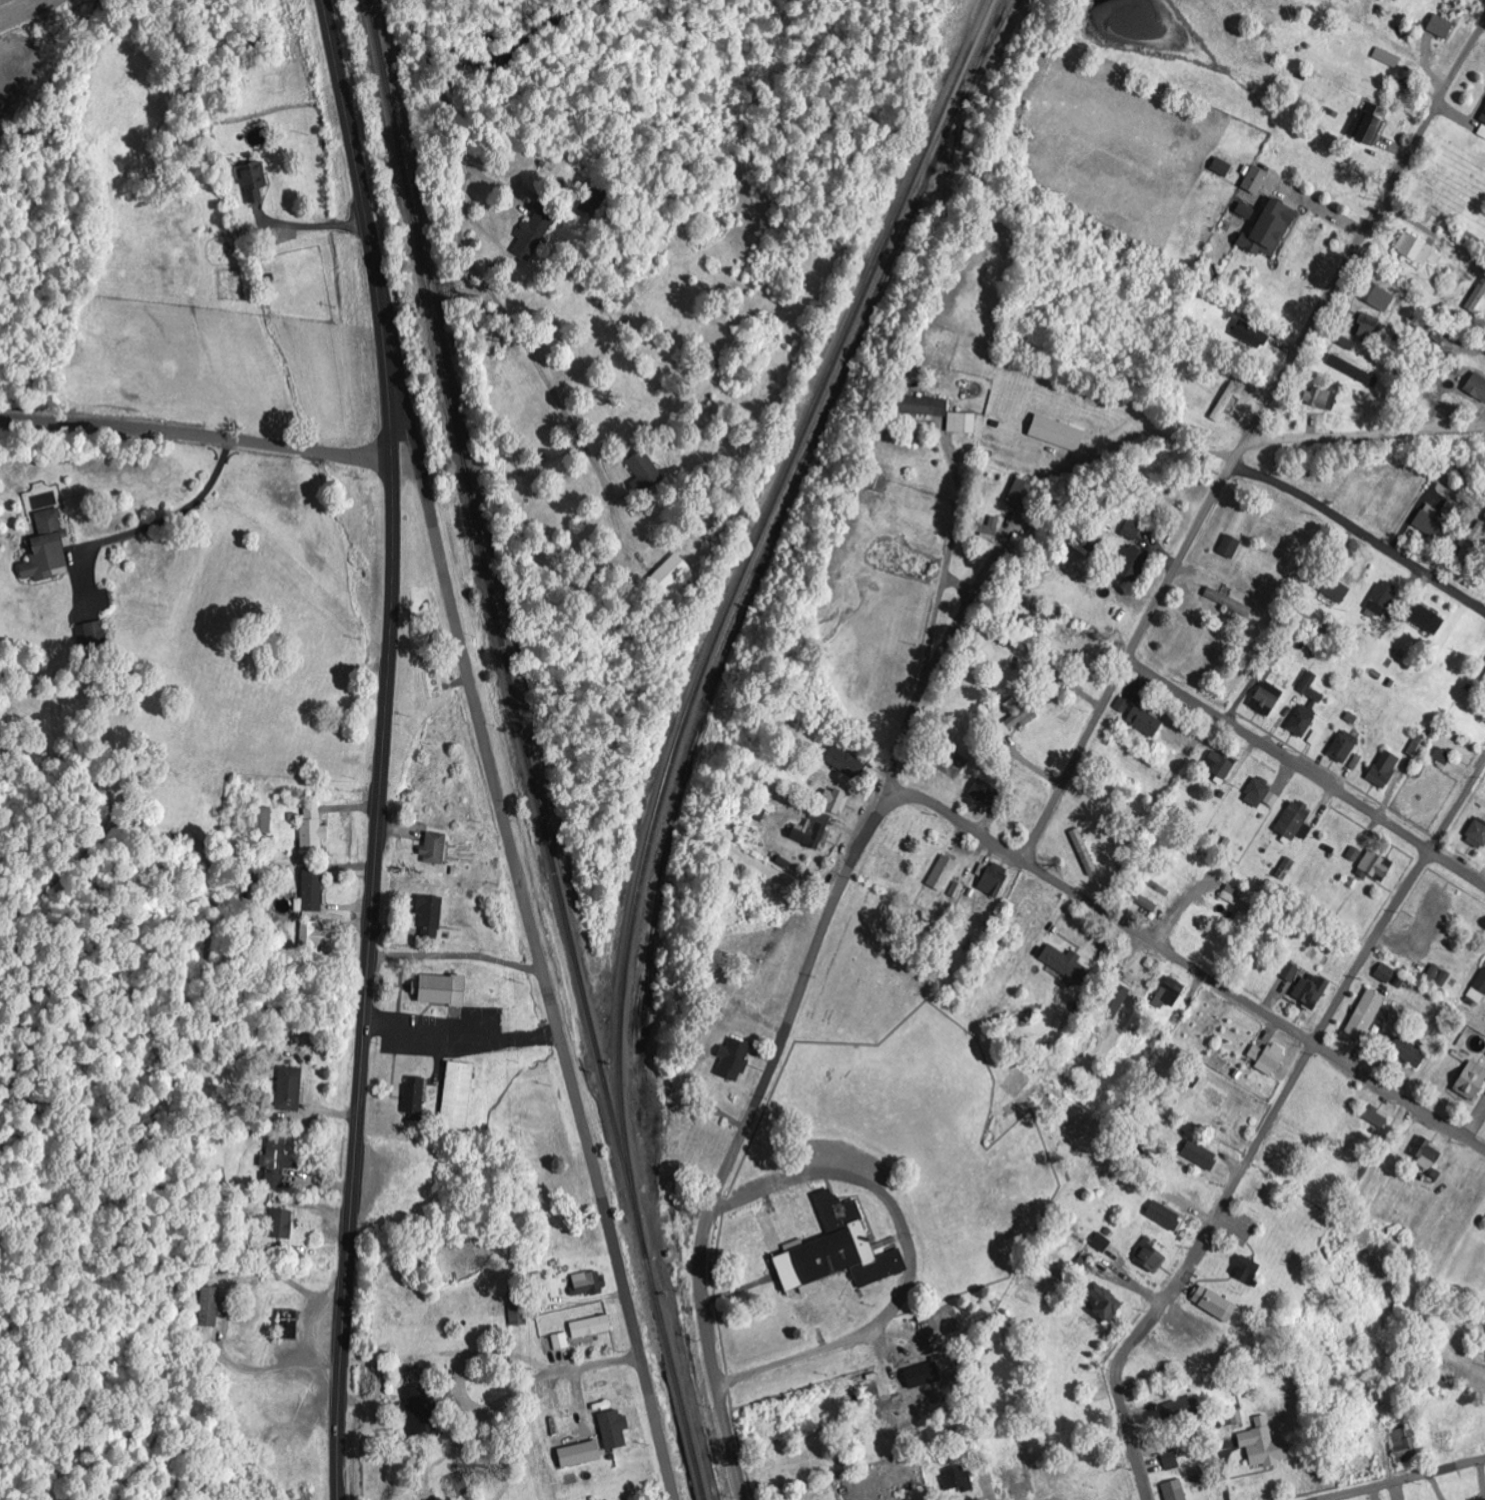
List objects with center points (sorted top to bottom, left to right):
building: (1441, 27)
building: (1387, 58)
building: (1483, 119)
building: (1368, 125)
building: (1222, 167)
building: (253, 179)
building: (1255, 180)
building: (1266, 227)
building: (534, 234)
building: (1418, 250)
building: (1378, 296)
building: (1369, 327)
building: (1249, 332)
building: (1355, 370)
building: (1477, 386)
building: (1321, 398)
building: (1225, 401)
building: (926, 406)
building: (962, 422)
road: (1367, 432)
building: (1058, 433)
road: (196, 438)
road: (1248, 438)
road: (404, 458)
building: (877, 482)
building: (1021, 494)
building: (1431, 522)
building: (1132, 530)
road: (1361, 534)
building: (1231, 546)
building: (46, 548)
building: (1132, 563)
railway: (741, 565)
building: (671, 573)
railway: (492, 583)
building: (1334, 589)
building: (1383, 598)
building: (1229, 602)
building: (1428, 620)
road: (953, 631)
building: (1267, 698)
building: (1123, 704)
building: (1306, 708)
building: (1019, 718)
building: (1145, 721)
building: (1418, 746)
road: (384, 747)
building: (1344, 747)
building: (1443, 756)
building: (845, 763)
building: (1220, 766)
building: (1385, 769)
road: (1307, 772)
building: (985, 791)
building: (1261, 794)
building: (835, 801)
building: (263, 820)
building: (1295, 821)
building: (313, 829)
building: (813, 830)
building: (1477, 834)
building: (434, 849)
building: (1084, 852)
building: (1355, 854)
building: (1377, 865)
building: (943, 873)
building: (992, 878)
building: (313, 889)
building: (1234, 897)
road: (1181, 913)
building: (430, 914)
building: (1432, 914)
road: (527, 920)
building: (311, 937)
road: (1180, 957)
building: (1066, 965)
building: (1291, 972)
building: (1434, 972)
building: (1386, 973)
park: (863, 975)
building: (1446, 979)
building: (442, 990)
building: (1312, 990)
building: (1478, 990)
building: (1169, 995)
building: (1115, 1001)
road: (943, 1015)
building: (1366, 1016)
road: (785, 1040)
building: (1410, 1051)
building: (1269, 1058)
building: (734, 1059)
building: (1472, 1081)
building: (290, 1089)
building: (457, 1095)
building: (415, 1098)
building: (1377, 1118)
road: (1268, 1122)
building: (1428, 1154)
building: (1201, 1155)
building: (276, 1156)
building: (274, 1181)
building: (1165, 1216)
building: (281, 1225)
building: (1101, 1243)
building: (838, 1250)
road: (909, 1259)
building: (1151, 1259)
building: (1247, 1270)
building: (589, 1283)
building: (1104, 1303)
building: (1215, 1304)
building: (210, 1307)
building: (518, 1312)
building: (591, 1327)
railway: (663, 1332)
building: (561, 1342)
road: (1468, 1351)
road: (542, 1369)
building: (911, 1386)
road: (503, 1402)
building: (1179, 1408)
building: (419, 1411)
building: (1237, 1418)
building: (614, 1430)
building: (1406, 1445)
building: (1264, 1446)
building: (580, 1455)
building: (958, 1479)
road: (1411, 1481)
road: (1024, 1482)
building: (1175, 1490)

